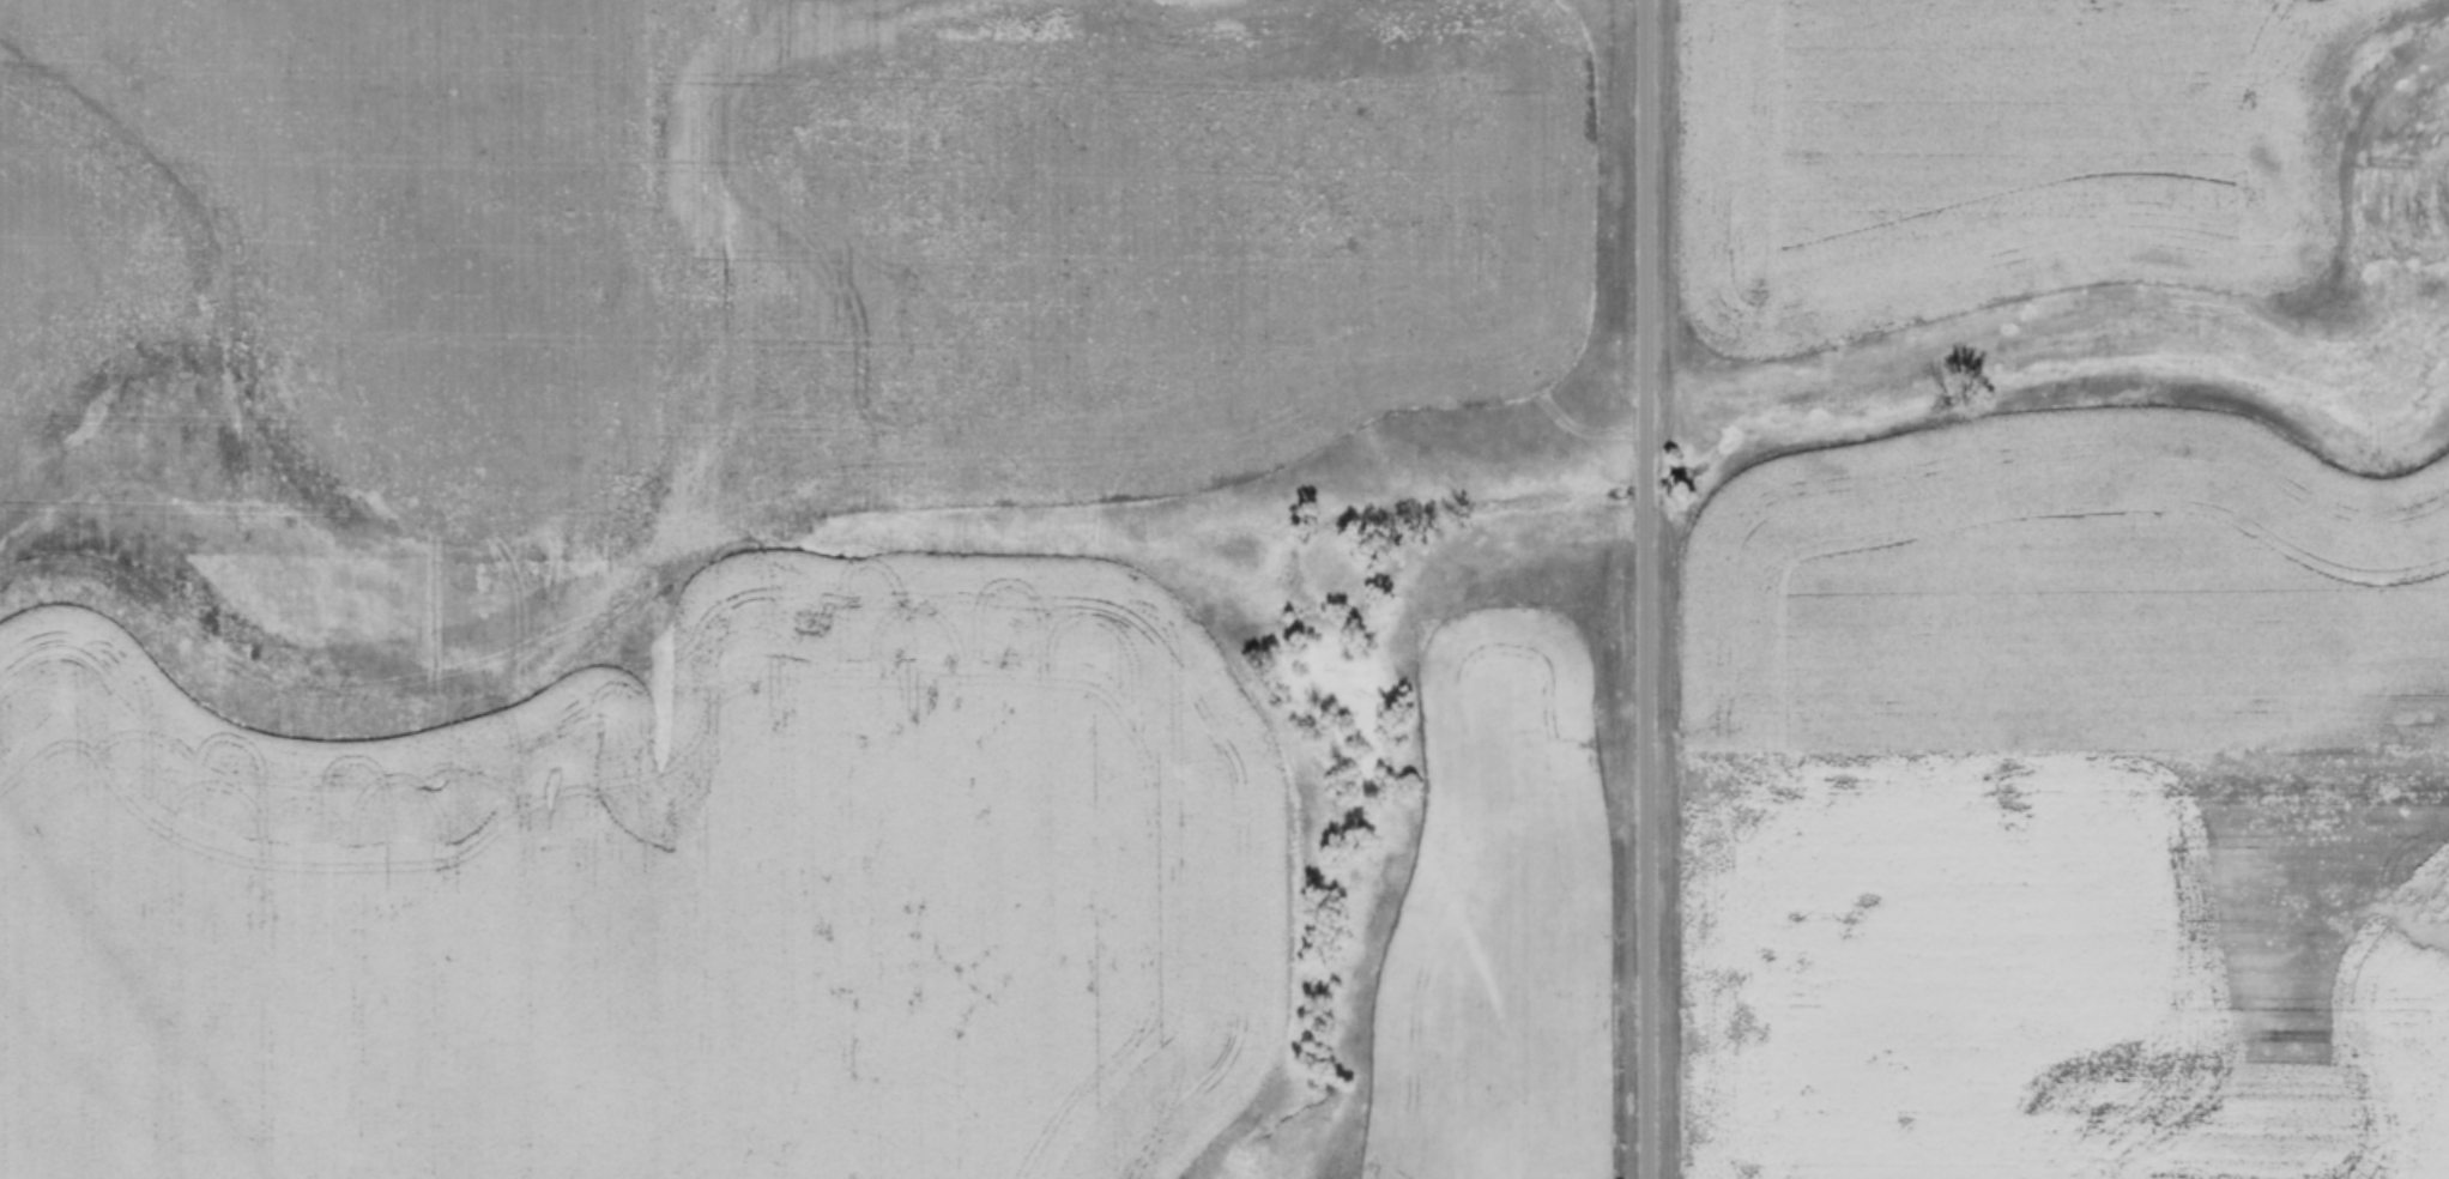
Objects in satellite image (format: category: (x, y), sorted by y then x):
road: (1653, 589)

